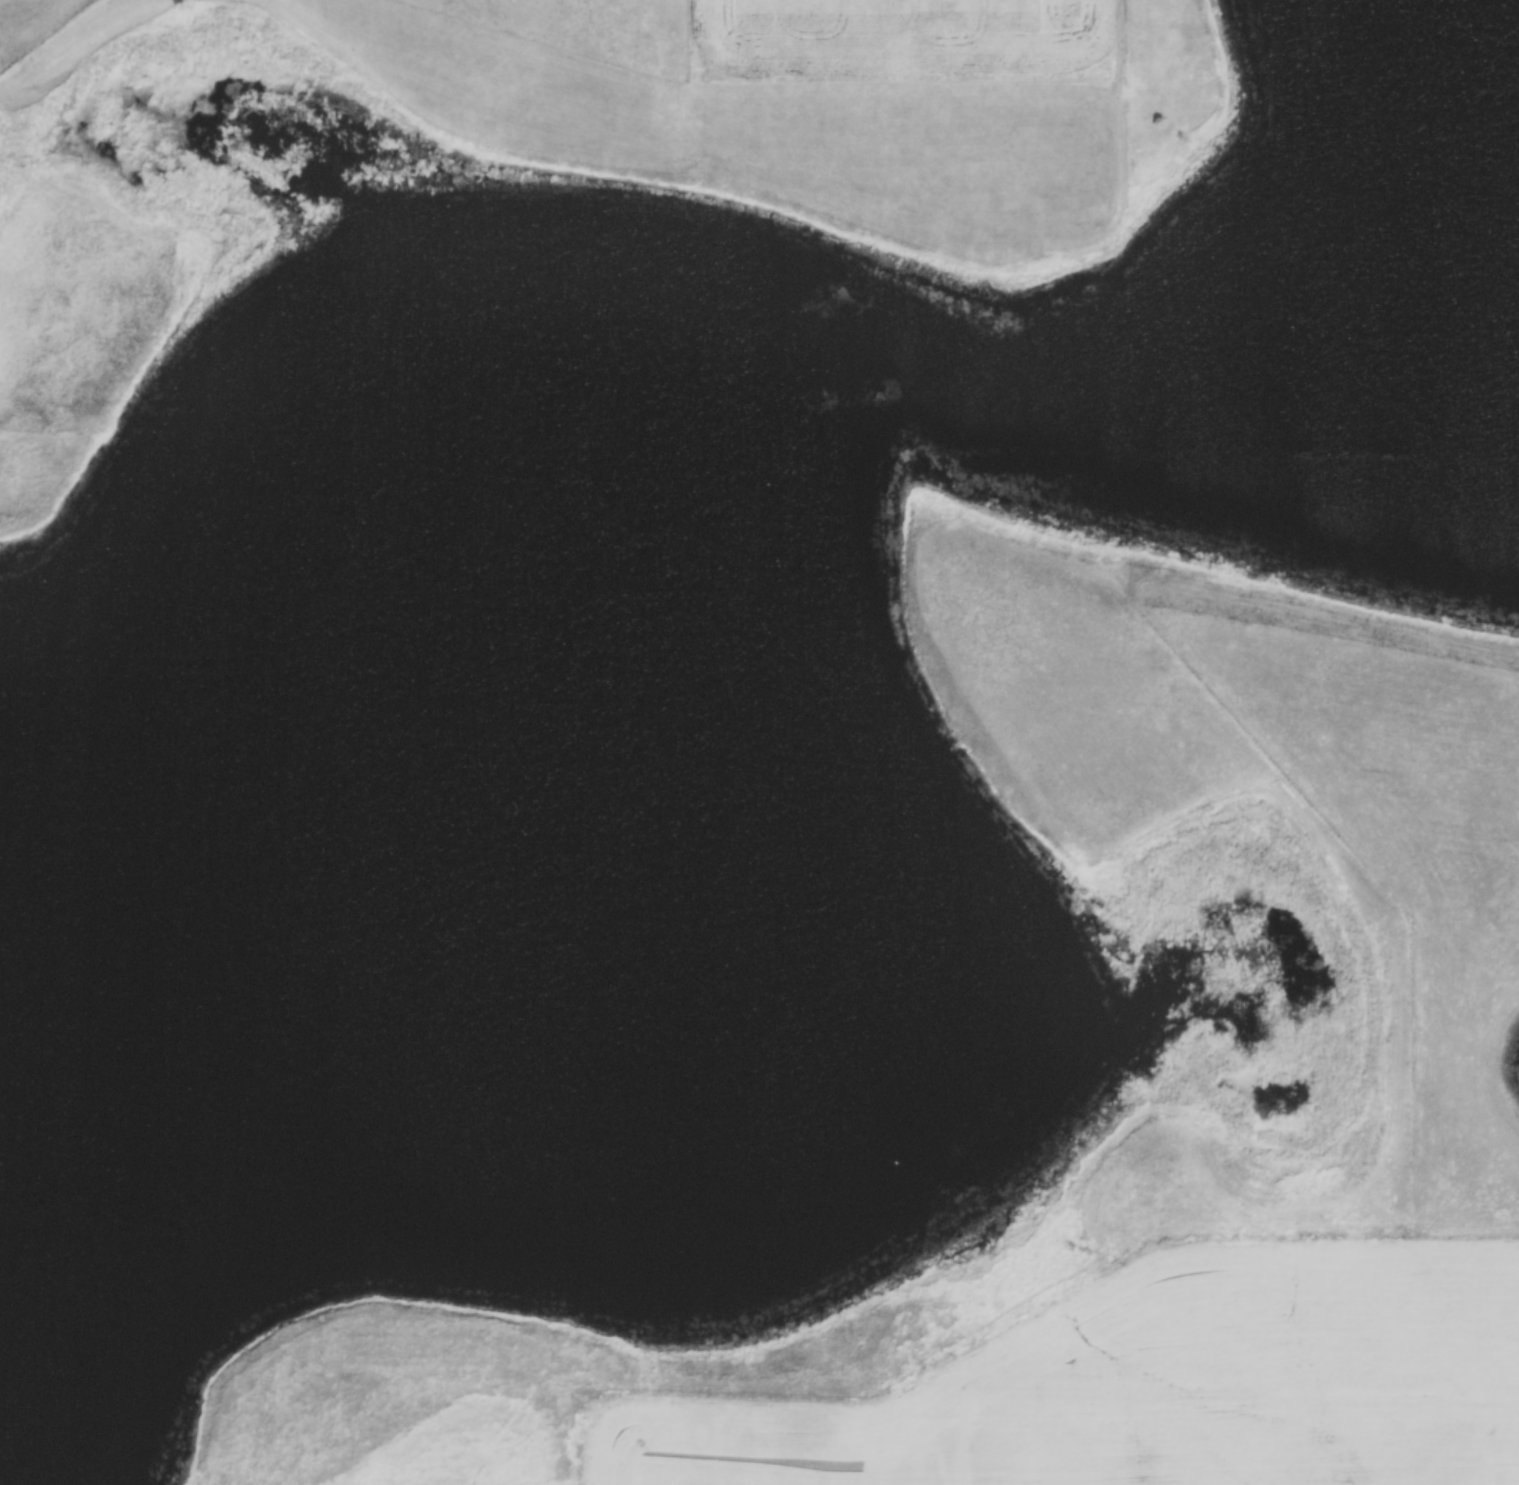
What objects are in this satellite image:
crop: (32, 26)

